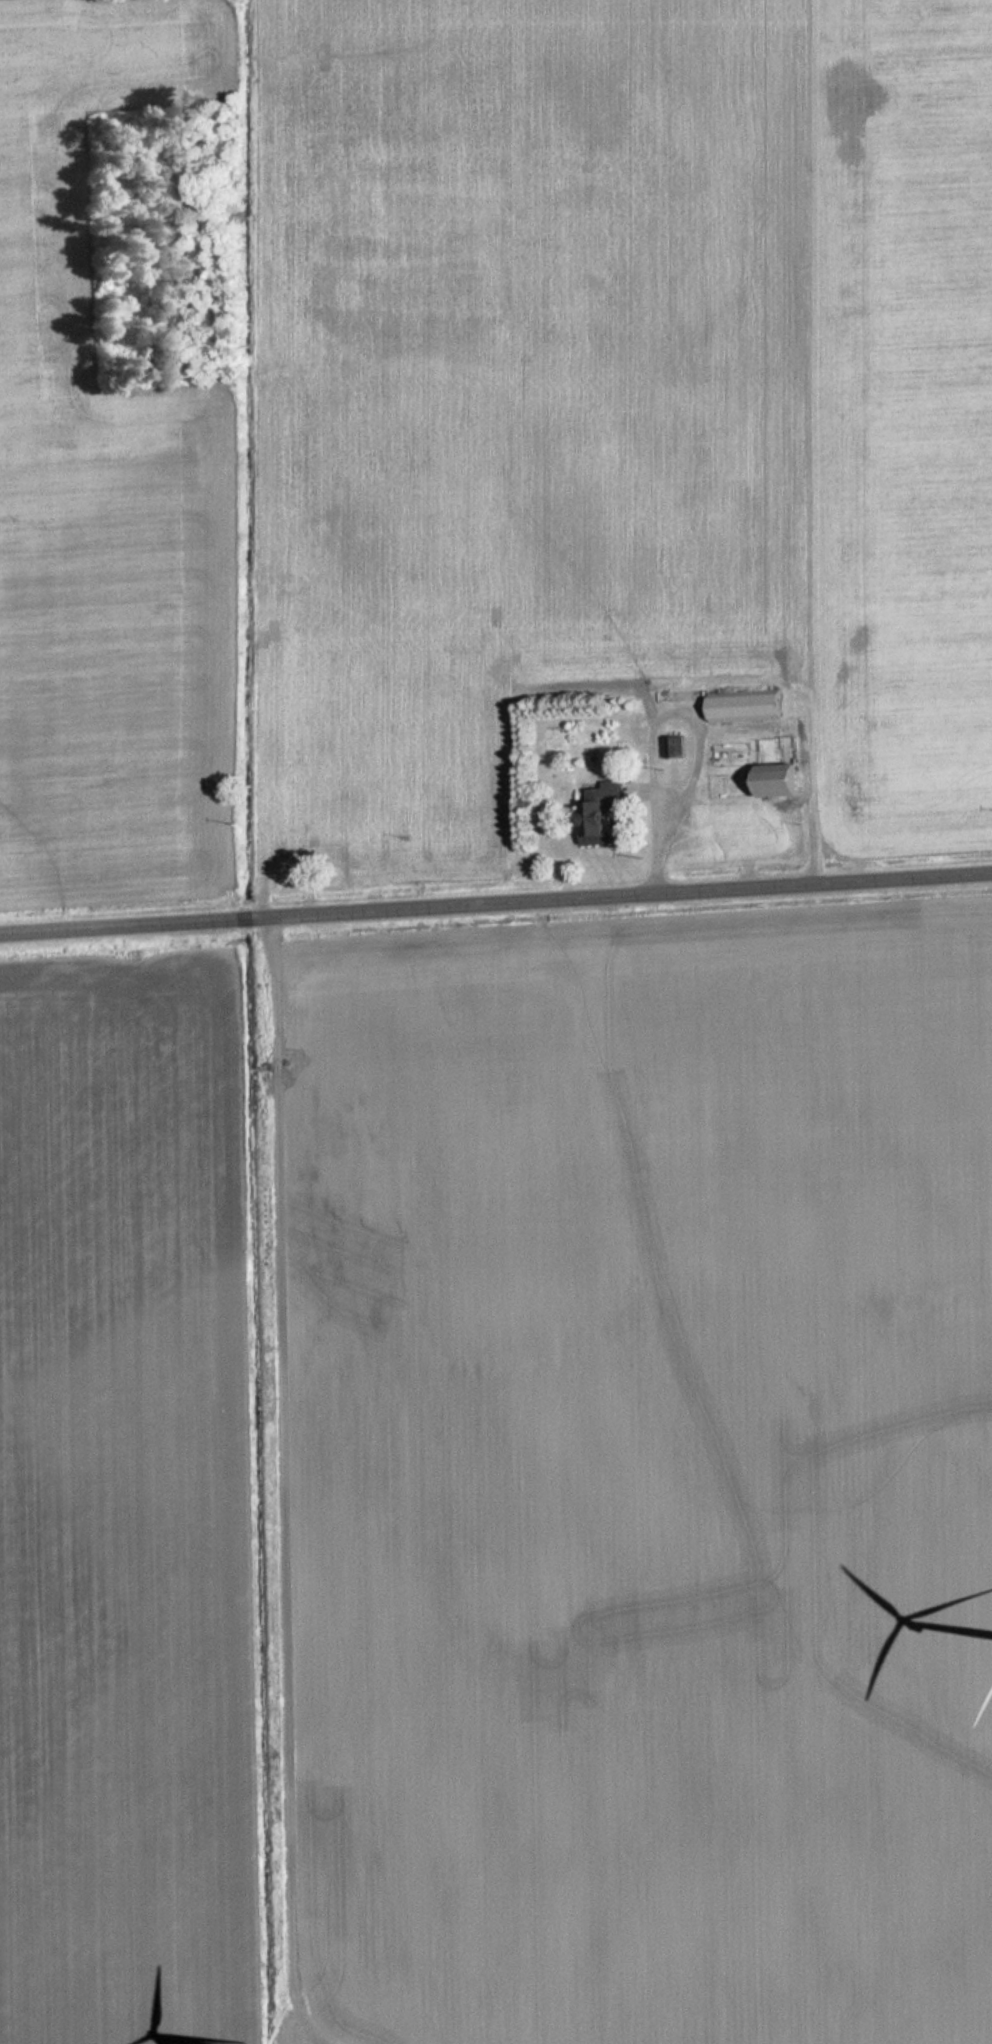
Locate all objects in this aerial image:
building: (747, 707)
building: (675, 747)
building: (602, 812)
road: (496, 905)
road: (284, 1484)

